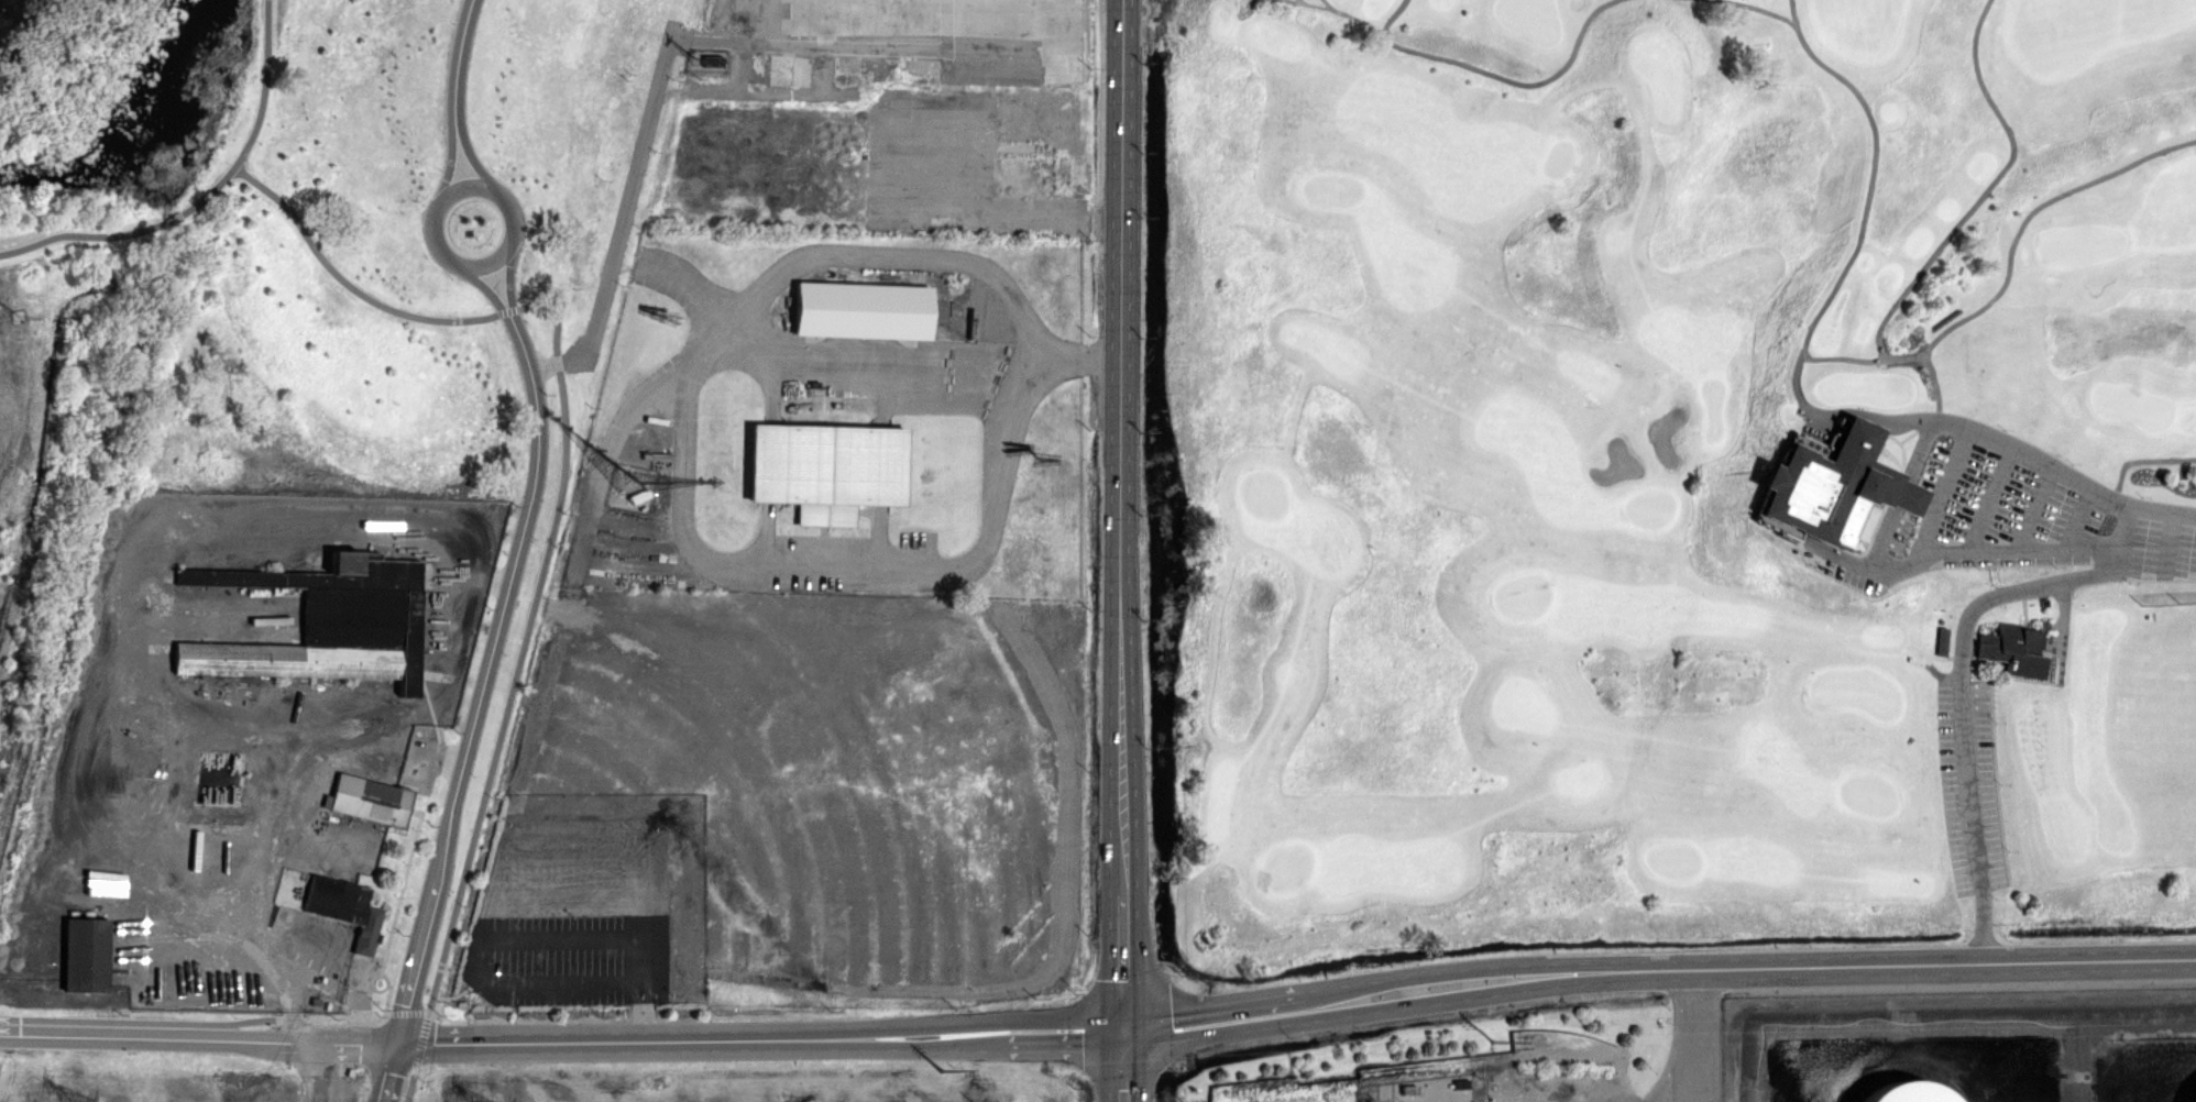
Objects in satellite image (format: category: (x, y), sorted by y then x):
road: (1318, 4)
road: (1329, 5)
road: (1763, 9)
road: (1359, 19)
road: (455, 55)
road: (1491, 74)
road: (470, 154)
road: (448, 162)
road: (1994, 188)
road: (204, 195)
road: (2028, 208)
road: (623, 216)
road: (485, 263)
road: (1843, 273)
road: (508, 276)
road: (343, 278)
road: (485, 287)
road: (507, 308)
building: (859, 309)
road: (1900, 356)
road: (680, 440)
road: (1124, 447)
road: (2145, 460)
building: (823, 469)
park: (1665, 476)
building: (1832, 487)
road: (1909, 487)
road: (1948, 494)
road: (1997, 499)
road: (2041, 508)
parking lot: (1992, 509)
road: (2089, 519)
road: (2174, 546)
parking lot: (2166, 550)
road: (143, 618)
building: (323, 624)
building: (1946, 641)
road: (521, 643)
building: (2019, 644)
road: (488, 662)
road: (1967, 680)
road: (319, 745)
railway: (21, 765)
parking lot: (1970, 783)
building: (369, 800)
building: (343, 908)
road: (509, 937)
building: (84, 954)
road: (1123, 965)
road: (1749, 972)
road: (336, 987)
road: (406, 1010)
road: (338, 1013)
road: (142, 1020)
road: (1215, 1021)
road: (402, 1027)
traffic signals: (1123, 1034)
road: (1062, 1037)
road: (198, 1038)
road: (1692, 1038)
road: (420, 1039)
road: (698, 1042)
power tower: (1491, 1045)
road: (1123, 1068)
road: (312, 1072)
road: (1671, 1072)
road: (389, 1073)
road: (408, 1086)
building: (1903, 1092)
power tower: (69, 1099)

